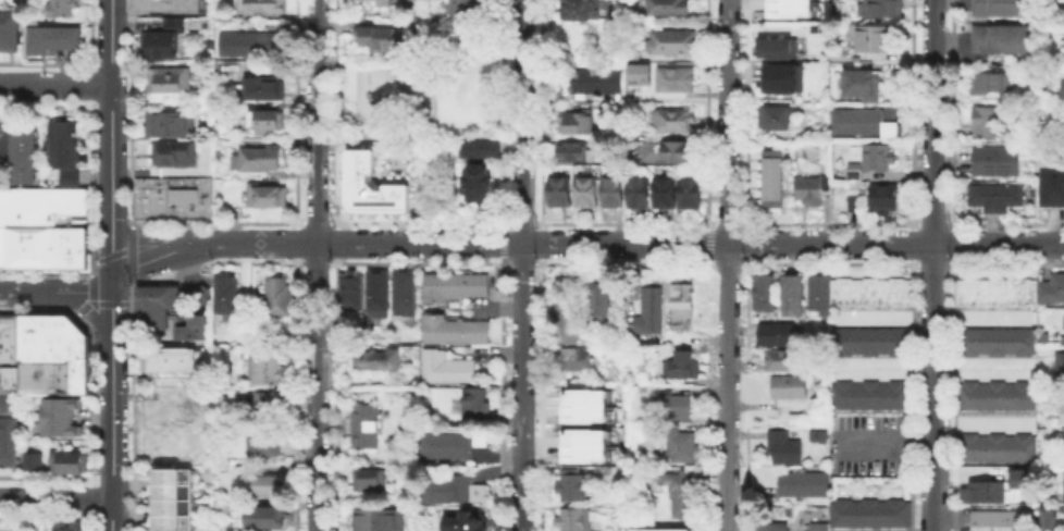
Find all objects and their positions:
building: (381, 2)
building: (168, 4)
building: (262, 5)
building: (460, 5)
building: (666, 7)
building: (781, 7)
building: (1003, 7)
building: (63, 9)
building: (578, 9)
building: (884, 9)
building: (412, 26)
building: (175, 27)
building: (10, 33)
building: (374, 36)
building: (878, 39)
building: (1004, 40)
building: (55, 41)
building: (676, 42)
building: (166, 45)
building: (250, 46)
building: (781, 50)
building: (842, 54)
road: (431, 65)
building: (639, 73)
building: (787, 78)
building: (680, 81)
building: (172, 82)
building: (595, 82)
road: (55, 83)
park: (432, 83)
building: (995, 84)
building: (866, 87)
building: (1061, 88)
building: (267, 90)
road: (111, 114)
building: (777, 120)
building: (268, 121)
road: (521, 121)
building: (677, 121)
road: (728, 121)
building: (578, 123)
building: (866, 123)
building: (989, 124)
building: (169, 125)
building: (21, 127)
building: (22, 139)
building: (62, 143)
building: (479, 148)
building: (22, 152)
building: (679, 152)
building: (574, 153)
building: (175, 156)
building: (881, 160)
building: (258, 161)
building: (999, 162)
building: (22, 164)
building: (857, 173)
building: (67, 176)
building: (774, 176)
building: (22, 177)
building: (475, 177)
building: (373, 186)
building: (1053, 188)
building: (812, 192)
building: (562, 193)
building: (587, 194)
building: (614, 194)
building: (691, 194)
building: (641, 195)
building: (666, 195)
building: (15, 196)
building: (141, 198)
building: (157, 198)
building: (173, 198)
building: (189, 198)
building: (205, 198)
building: (269, 198)
building: (997, 198)
building: (884, 199)
building: (57, 203)
building: (854, 205)
building: (15, 215)
building: (2, 235)
road: (161, 238)
road: (368, 243)
road: (624, 243)
road: (895, 244)
building: (77, 245)
building: (13, 247)
building: (29, 247)
building: (51, 247)
road: (111, 252)
road: (160, 256)
building: (2, 257)
road: (316, 264)
road: (933, 264)
building: (456, 287)
road: (86, 288)
building: (166, 288)
road: (29, 289)
building: (350, 291)
building: (868, 291)
building: (1053, 291)
building: (223, 293)
building: (766, 293)
building: (817, 293)
building: (379, 294)
building: (407, 294)
building: (999, 294)
building: (792, 296)
building: (682, 299)
building: (276, 300)
road: (728, 302)
building: (603, 304)
building: (145, 305)
building: (164, 307)
road: (111, 309)
building: (651, 310)
road: (88, 312)
building: (196, 318)
building: (1062, 321)
building: (567, 322)
building: (456, 331)
building: (190, 332)
building: (77, 334)
building: (1, 336)
building: (10, 336)
building: (779, 336)
building: (23, 337)
building: (33, 337)
building: (48, 337)
building: (673, 338)
building: (1061, 338)
building: (868, 339)
building: (998, 343)
building: (78, 356)
building: (170, 358)
building: (379, 359)
building: (576, 360)
building: (785, 361)
building: (48, 368)
building: (449, 369)
building: (1060, 369)
building: (682, 370)
building: (268, 371)
building: (8, 379)
building: (78, 382)
road: (521, 387)
building: (790, 388)
road: (728, 393)
building: (868, 394)
building: (998, 396)
building: (9, 402)
building: (272, 403)
building: (473, 405)
building: (581, 405)
building: (59, 406)
building: (169, 406)
building: (677, 407)
building: (1061, 410)
road: (111, 420)
building: (59, 425)
building: (368, 427)
building: (194, 428)
building: (8, 429)
building: (589, 440)
parking lot: (867, 443)
building: (265, 444)
building: (161, 445)
building: (454, 445)
building: (784, 447)
building: (683, 448)
building: (998, 449)
building: (7, 453)
building: (484, 454)
building: (30, 460)
building: (66, 460)
building: (1063, 461)
road: (728, 465)
building: (169, 474)
building: (1018, 477)
building: (372, 481)
building: (801, 482)
building: (572, 485)
building: (269, 487)
building: (451, 489)
building: (169, 491)
building: (1062, 492)
building: (985, 494)
road: (55, 498)
building: (682, 498)
building: (169, 506)
building: (868, 511)
road: (111, 515)
road: (728, 518)
building: (1047, 518)
building: (268, 519)
building: (381, 519)
building: (576, 520)
building: (169, 521)
building: (1003, 521)
building: (469, 524)
building: (816, 526)
building: (70, 528)
building: (774, 528)

